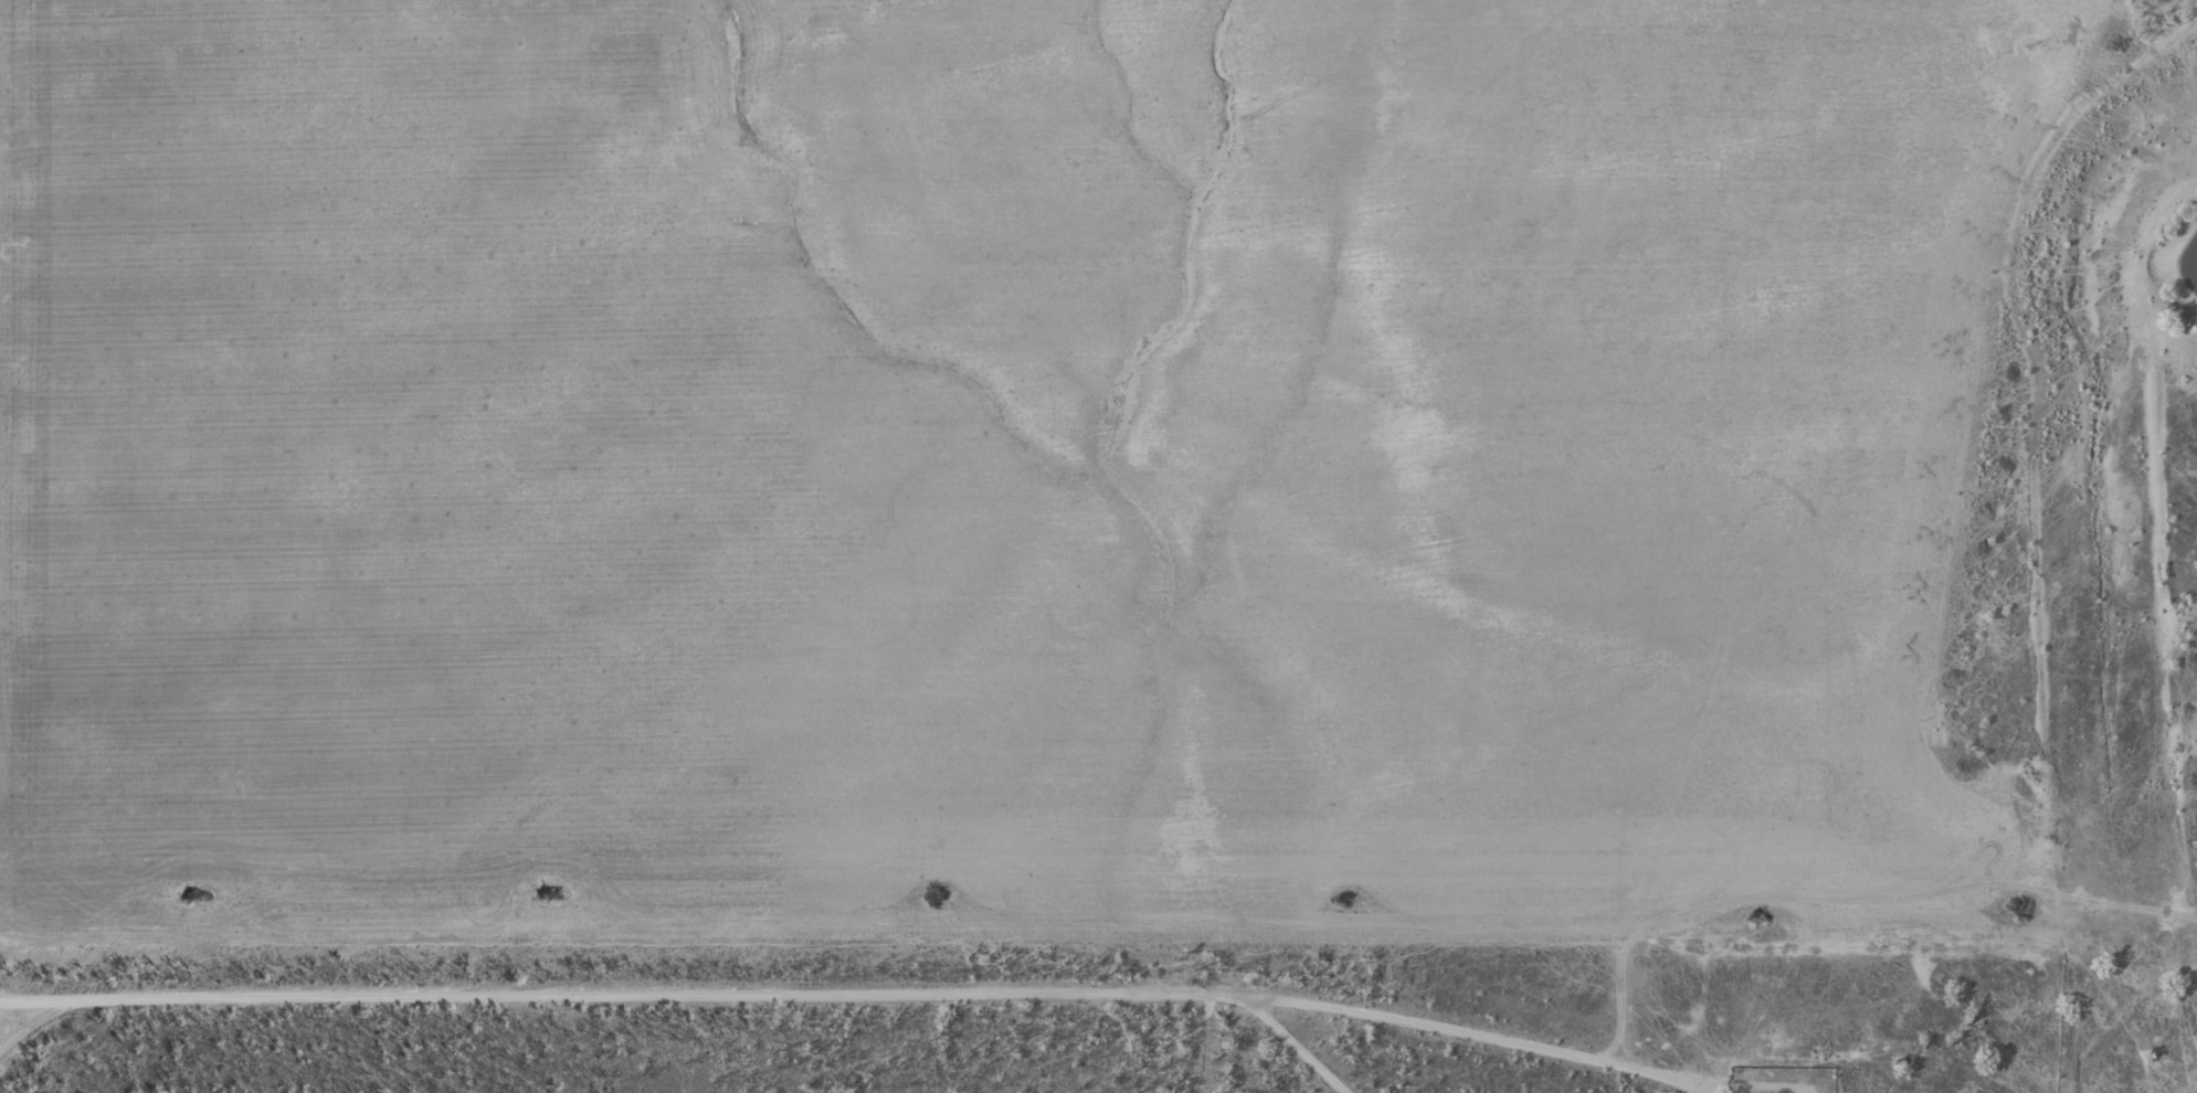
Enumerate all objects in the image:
road: (857, 998)
road: (1292, 1043)

